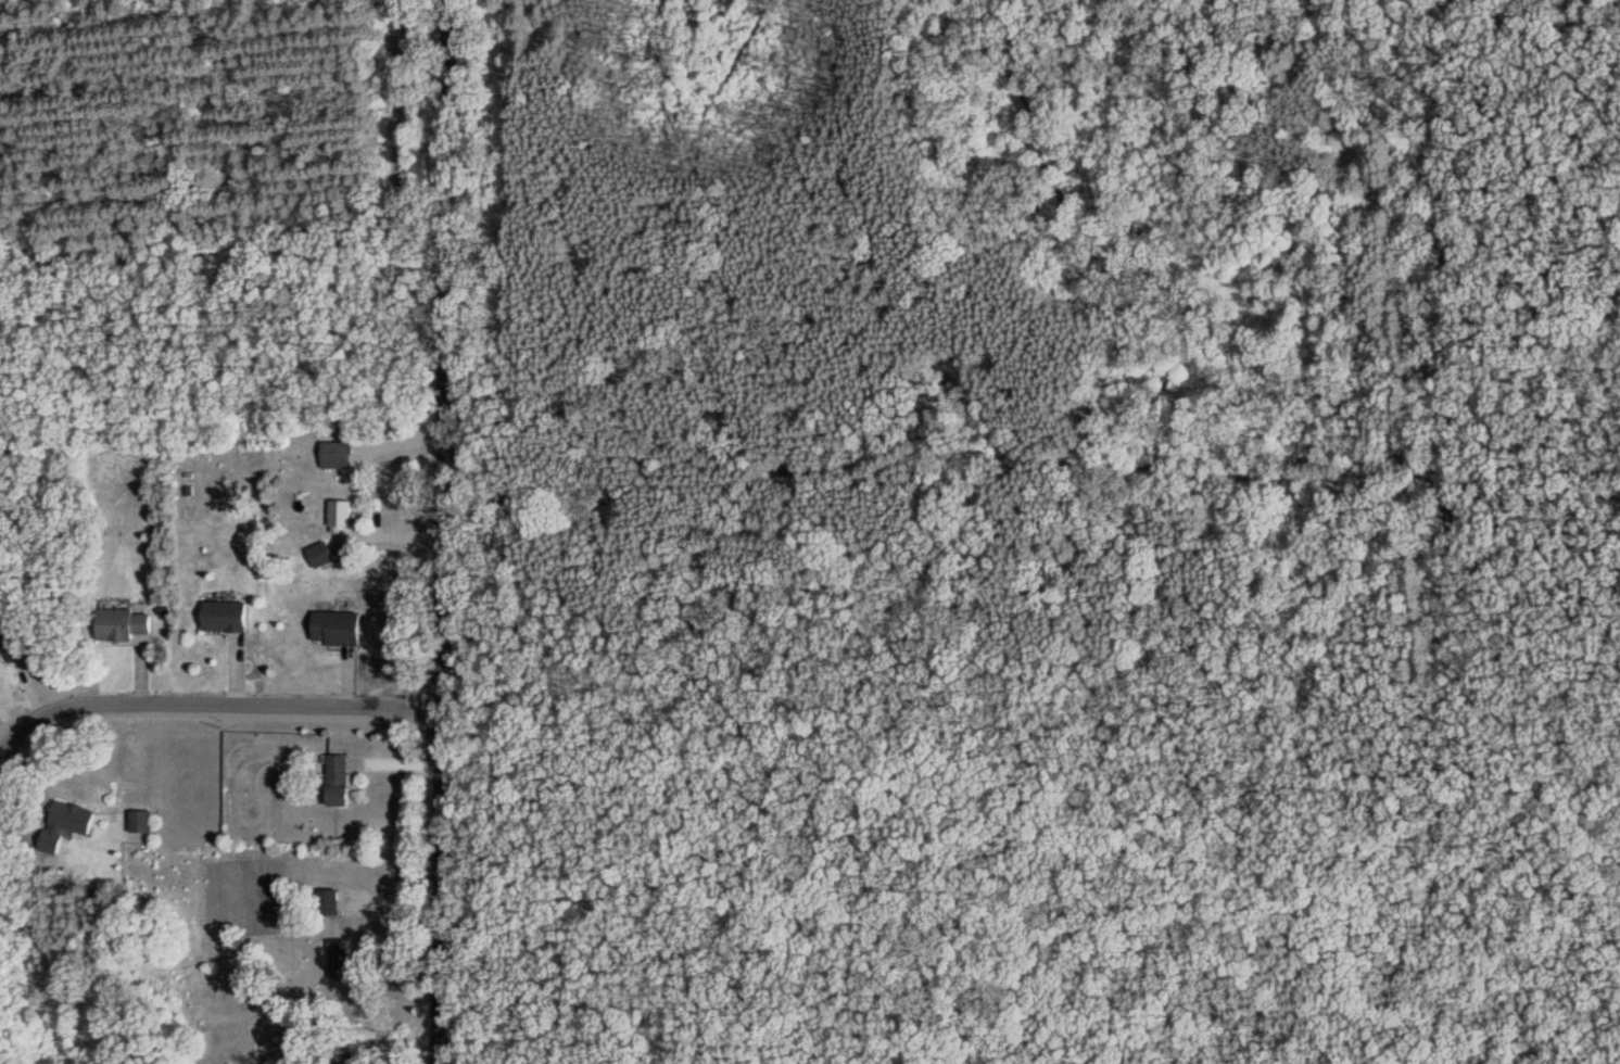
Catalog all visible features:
building: (333, 455)
building: (340, 515)
road: (442, 531)
building: (224, 617)
building: (121, 625)
building: (334, 629)
building: (11, 644)
road: (212, 701)
building: (337, 781)
building: (139, 822)
building: (63, 824)
building: (327, 903)
building: (338, 959)

